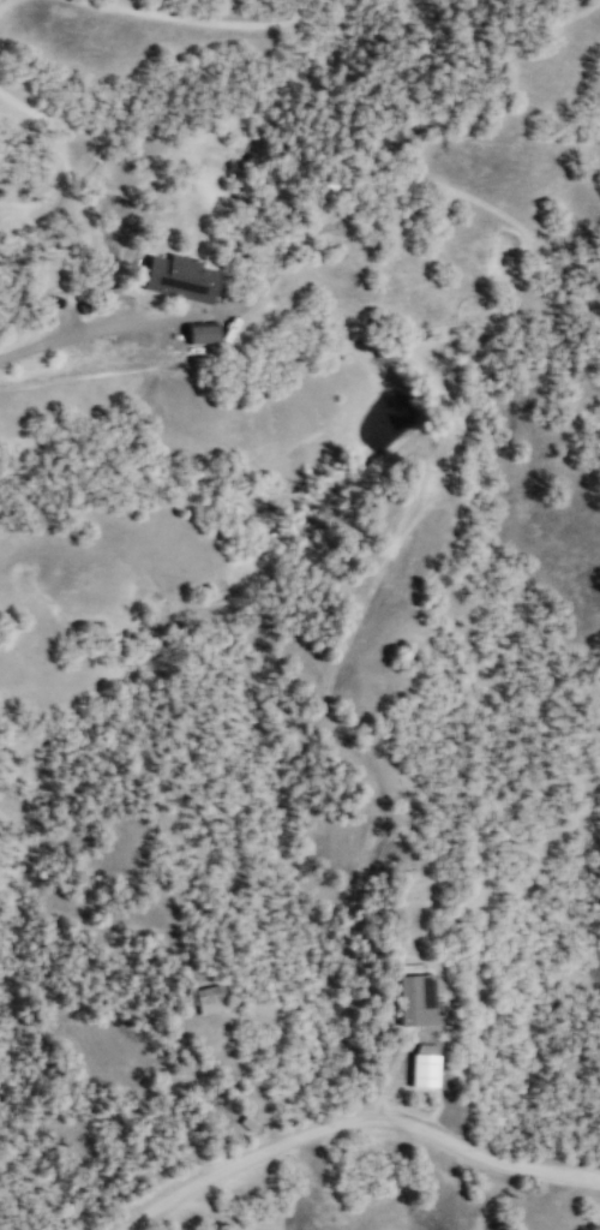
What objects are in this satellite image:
building: (182, 279)
building: (204, 333)
building: (212, 996)
building: (421, 996)
building: (431, 1062)
road: (354, 1119)

